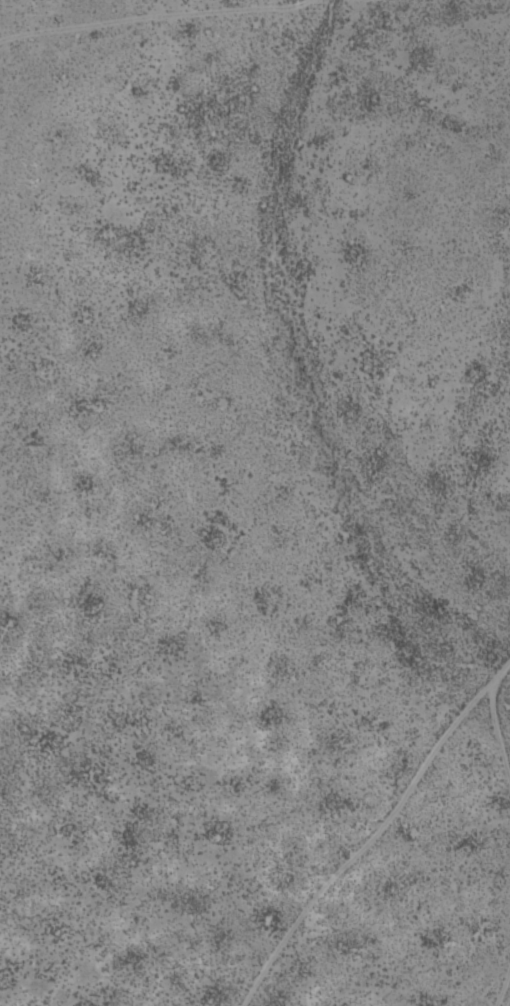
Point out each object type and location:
road: (495, 294)
road: (381, 857)

